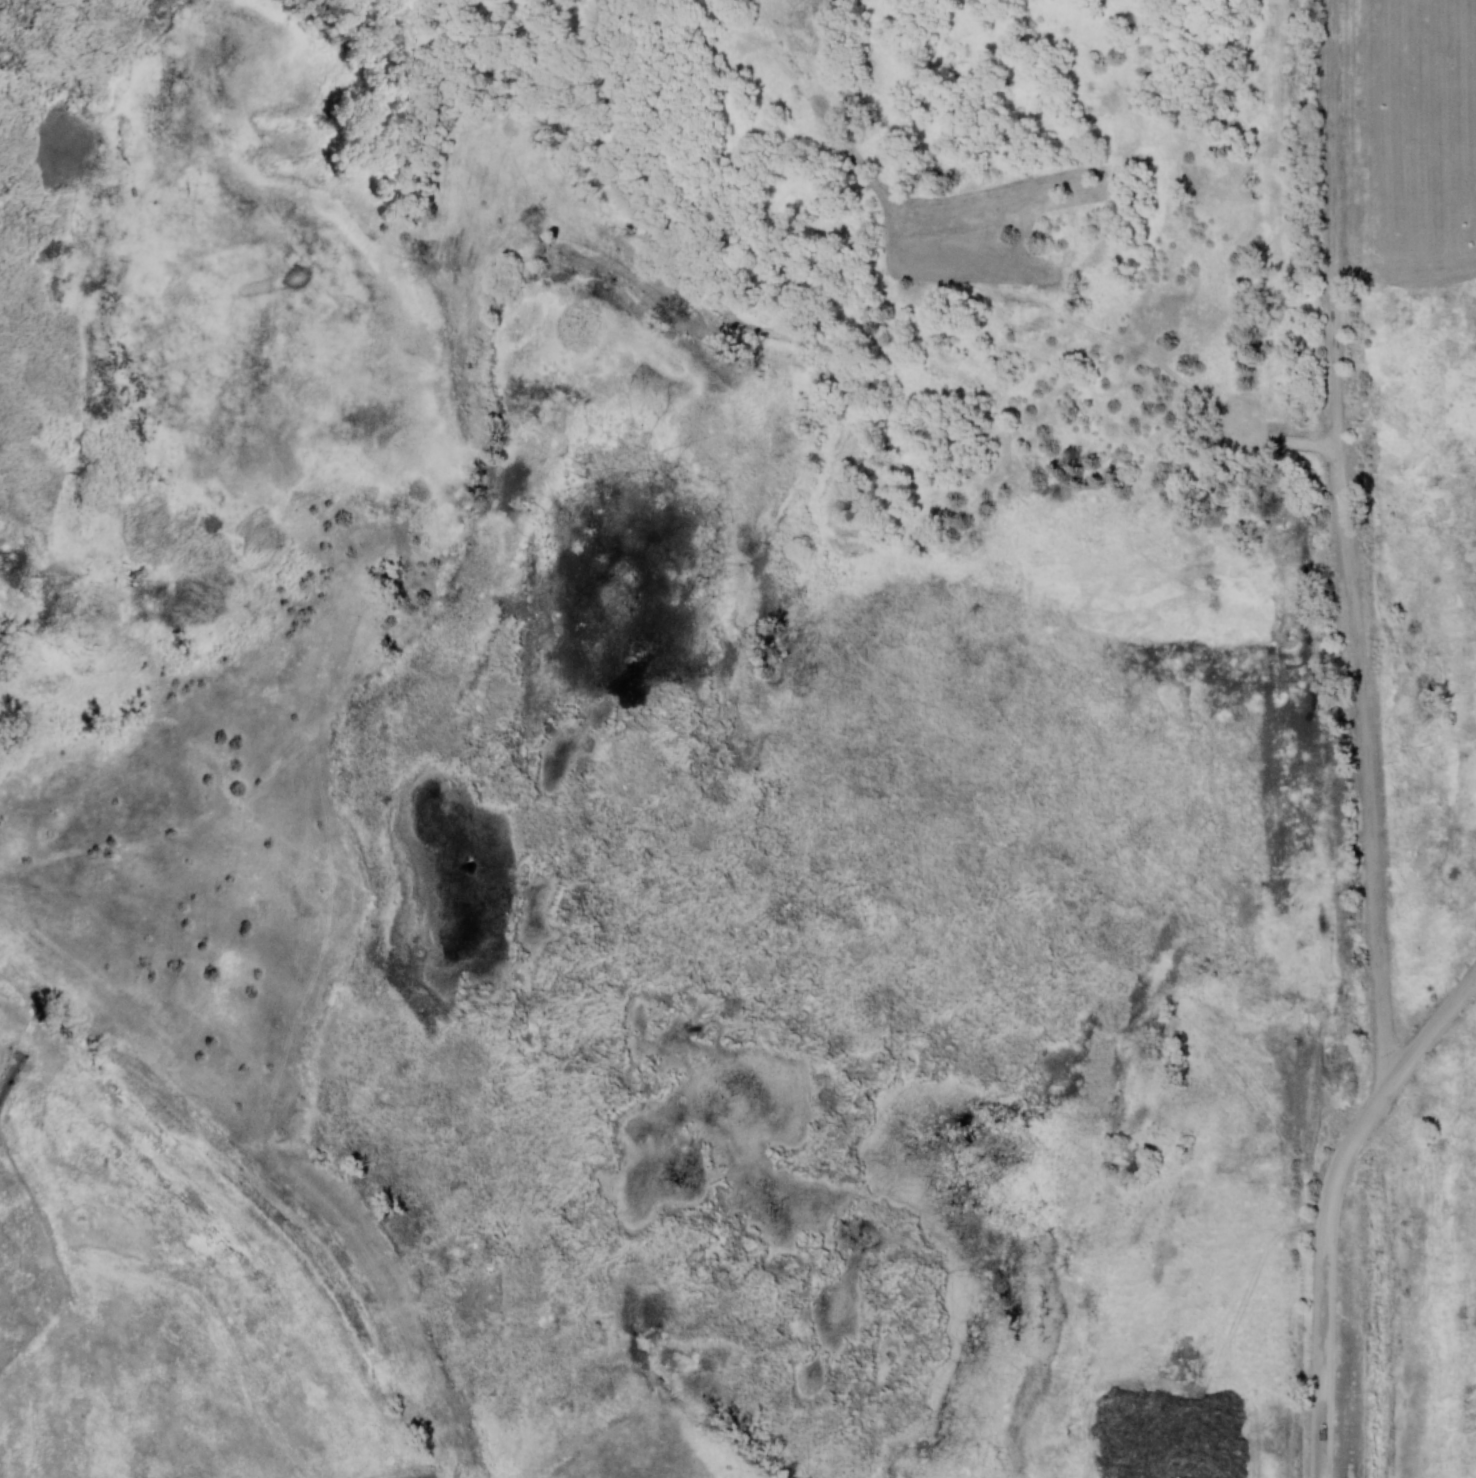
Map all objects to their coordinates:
landfill: (738, 739)
road: (1367, 750)
road: (1194, 1468)

